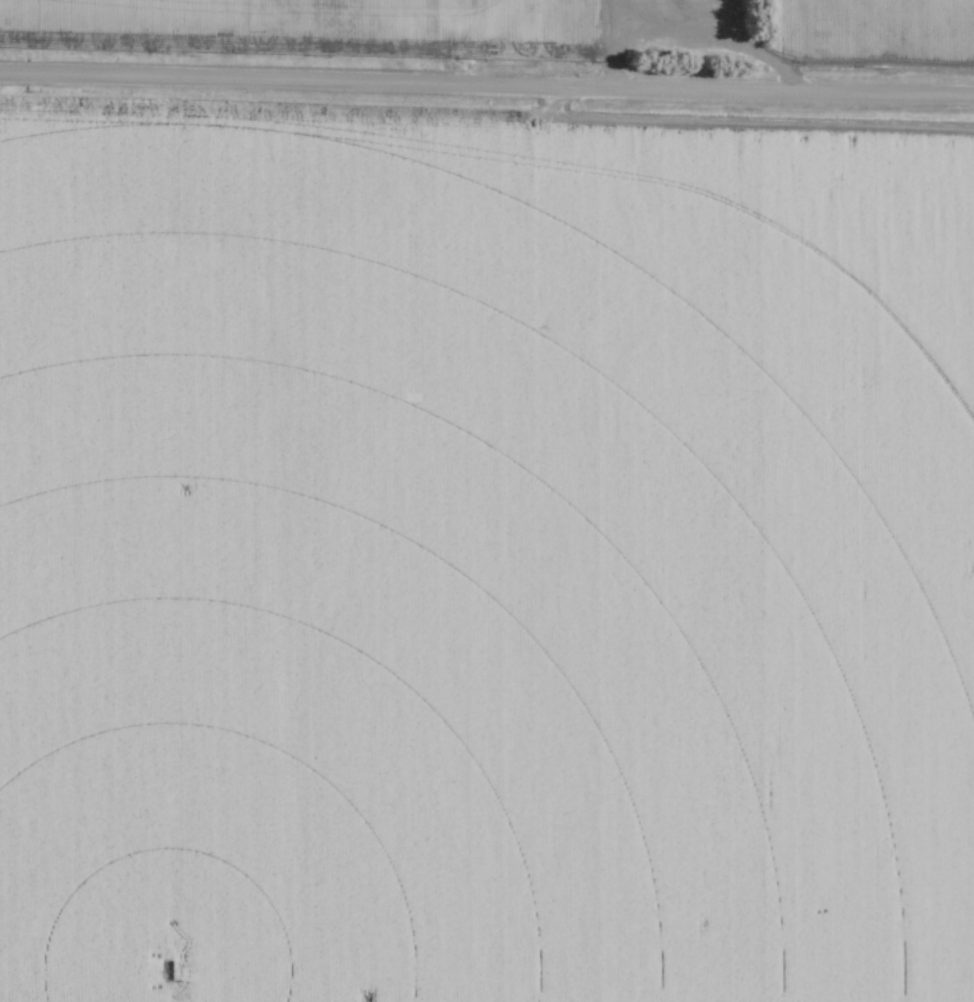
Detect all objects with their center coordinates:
building: (562, 0)
crop: (236, 22)
crop: (878, 28)
building: (704, 41)
road: (614, 43)
road: (749, 46)
road: (380, 55)
road: (486, 86)
crop: (484, 554)

